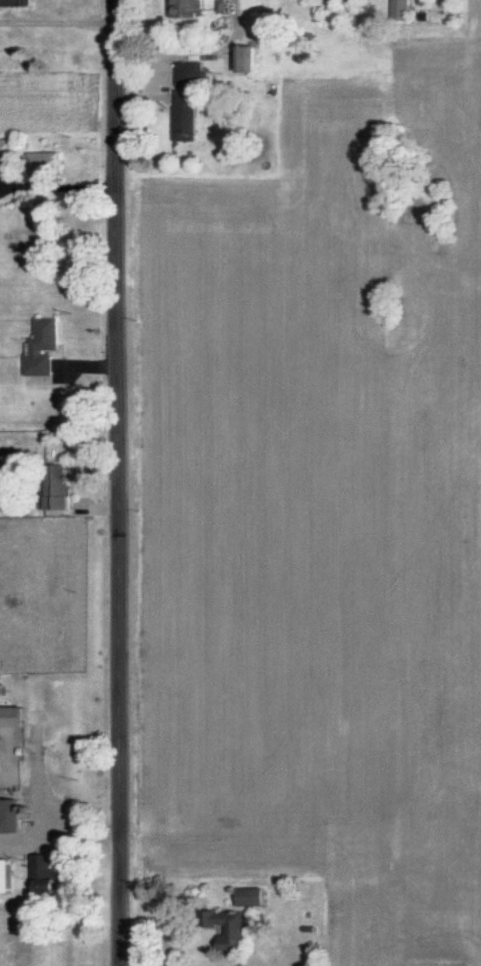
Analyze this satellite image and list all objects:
building: (15, 4)
building: (185, 8)
building: (398, 8)
road: (58, 22)
building: (242, 57)
building: (188, 71)
building: (184, 114)
building: (7, 147)
building: (44, 160)
building: (42, 346)
road: (116, 483)
building: (50, 486)
building: (10, 715)
building: (4, 814)
road: (58, 850)
building: (40, 871)
building: (3, 874)
building: (246, 896)
building: (227, 929)

